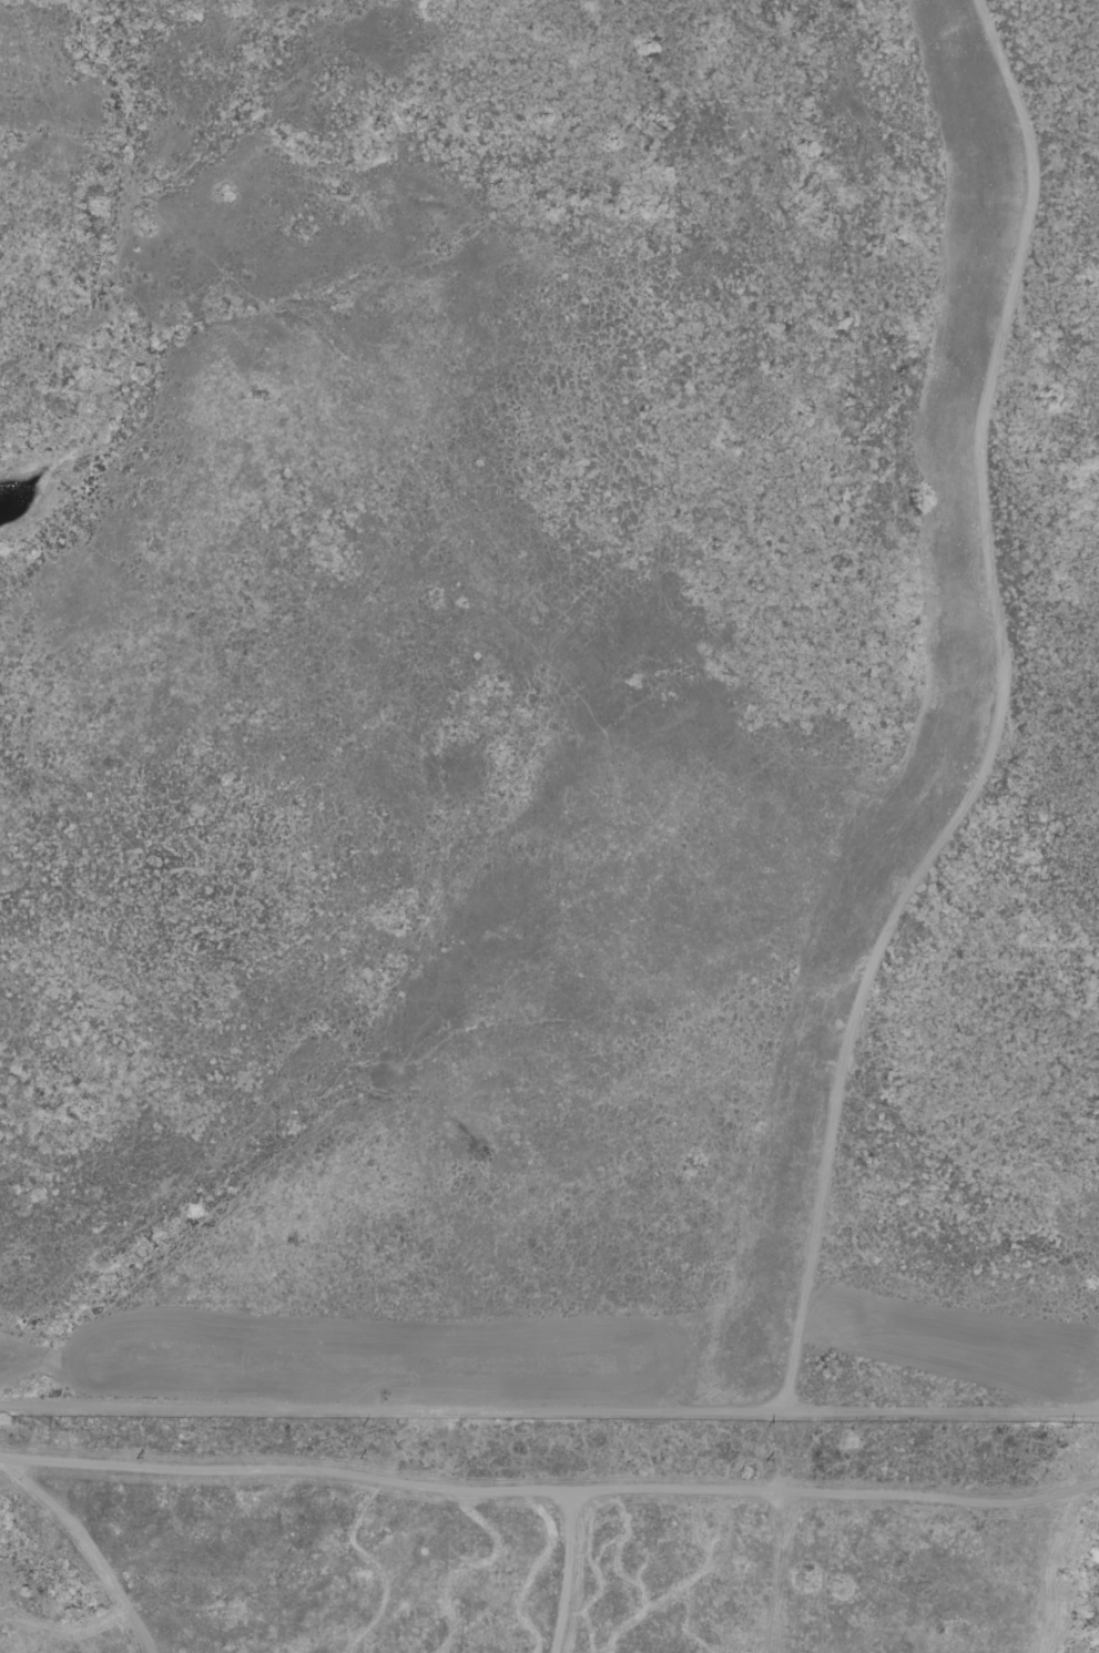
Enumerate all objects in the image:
road: (549, 1411)
road: (549, 1493)

